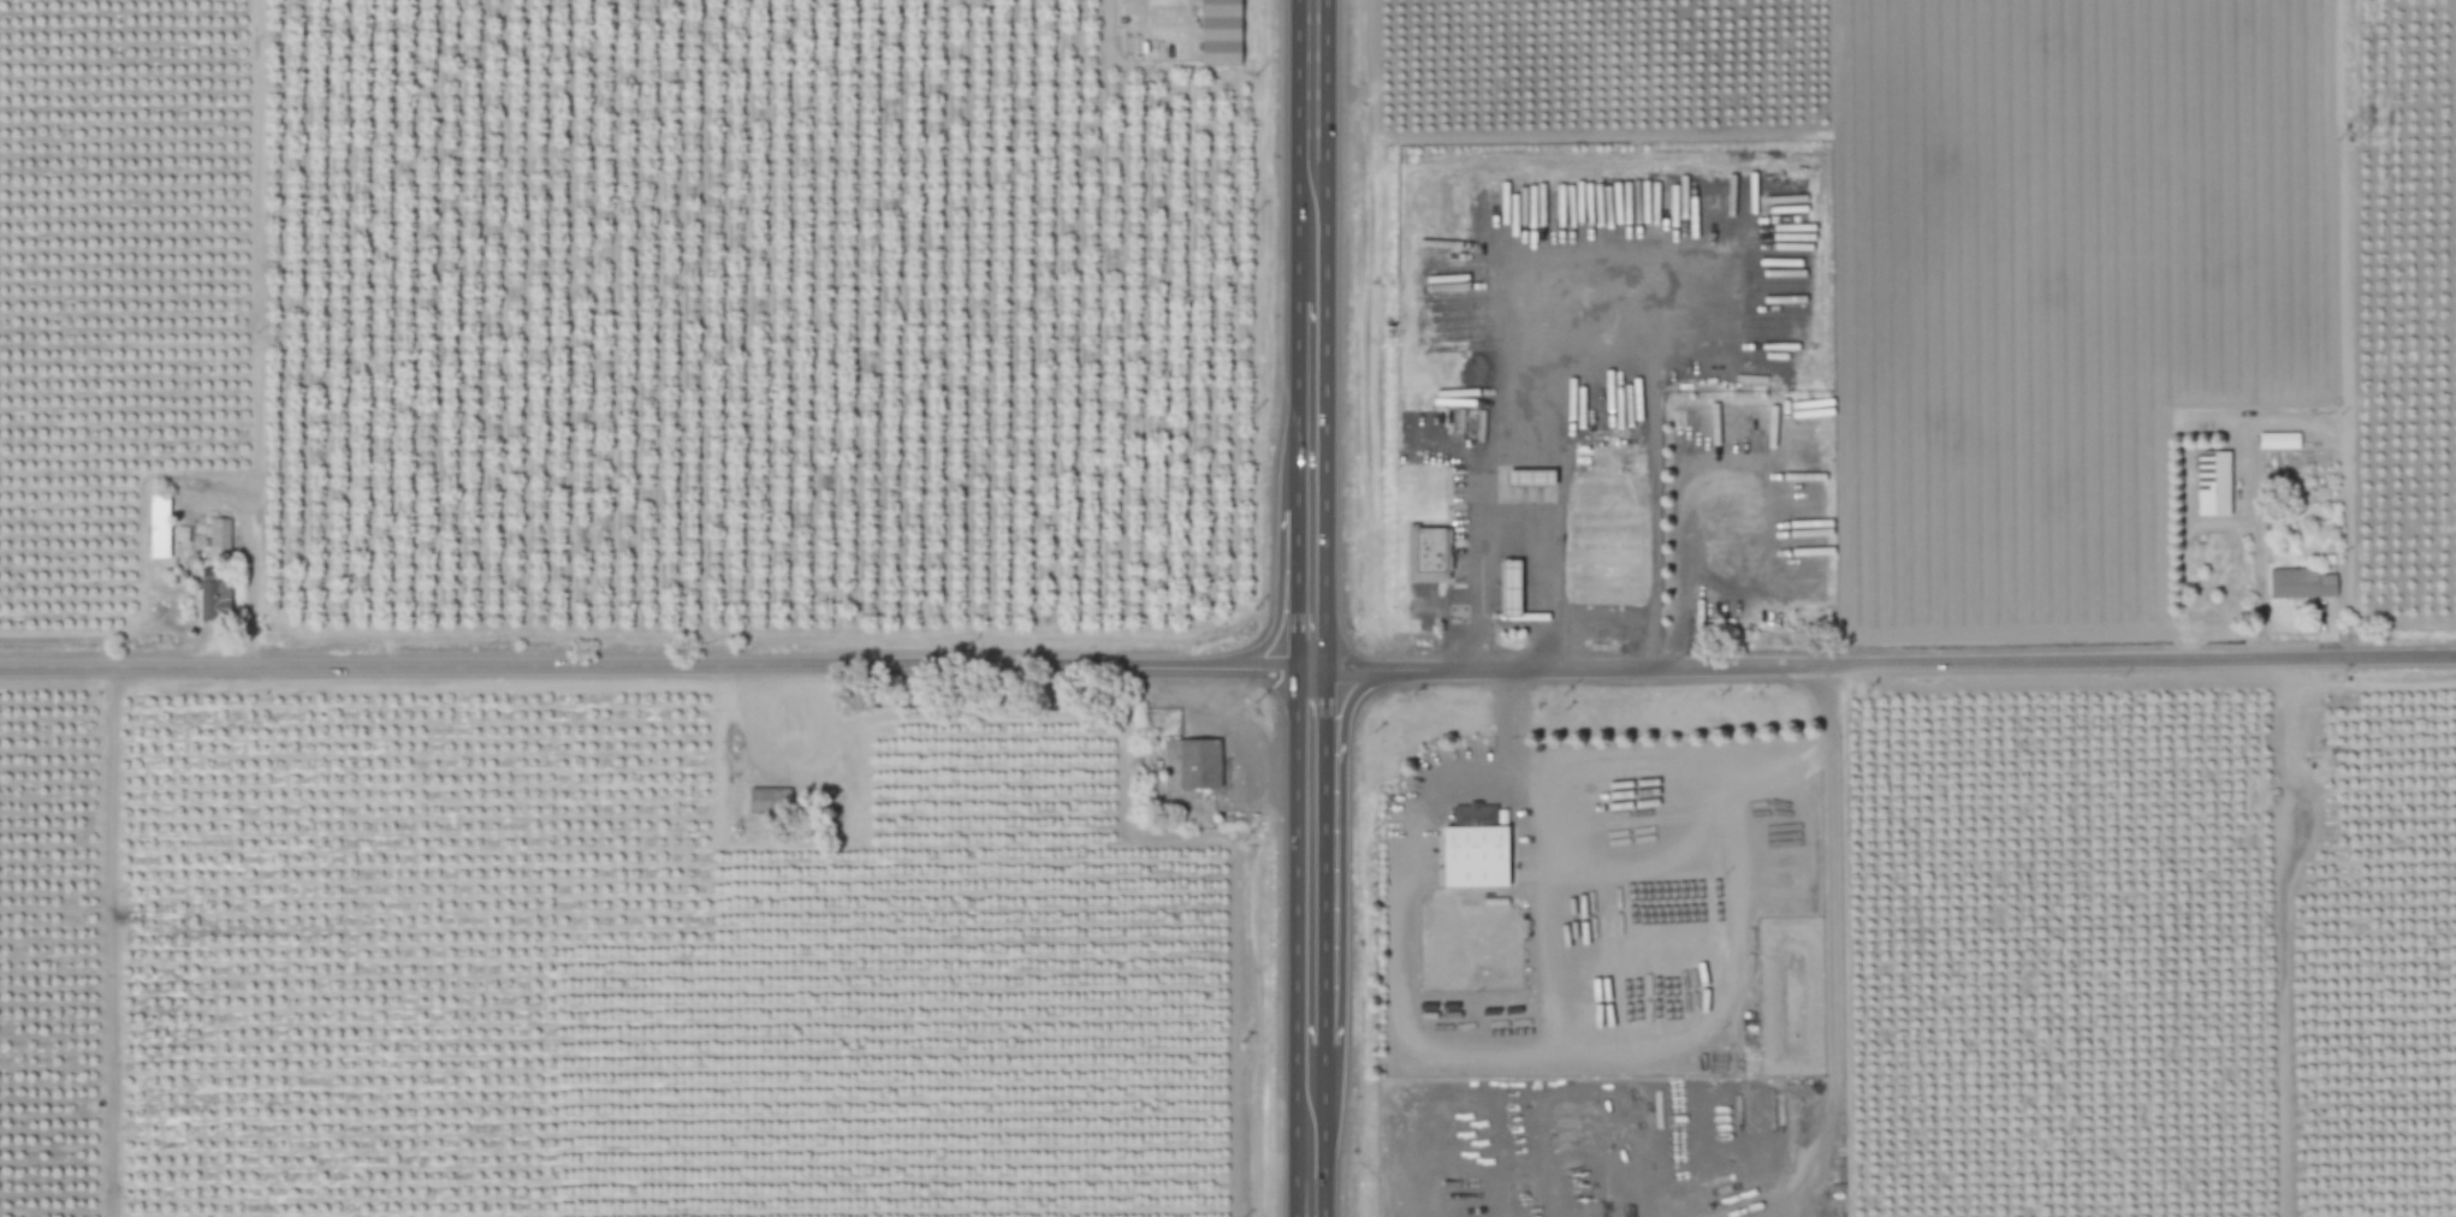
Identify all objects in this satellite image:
building: (1220, 32)
road: (1310, 97)
road: (1310, 334)
building: (1530, 477)
building: (2213, 483)
road: (1512, 516)
building: (158, 527)
building: (218, 535)
building: (1426, 553)
road: (1277, 572)
road: (1310, 572)
building: (2302, 583)
building: (1509, 589)
building: (213, 599)
road: (1616, 612)
road: (1922, 659)
road: (622, 667)
road: (1316, 670)
road: (1656, 783)
building: (767, 800)
building: (1476, 847)
road: (1635, 873)
road: (1339, 881)
road: (1309, 889)
road: (1550, 916)
road: (1833, 990)
road: (1511, 1047)
road: (1440, 1158)
road: (1309, 1163)

